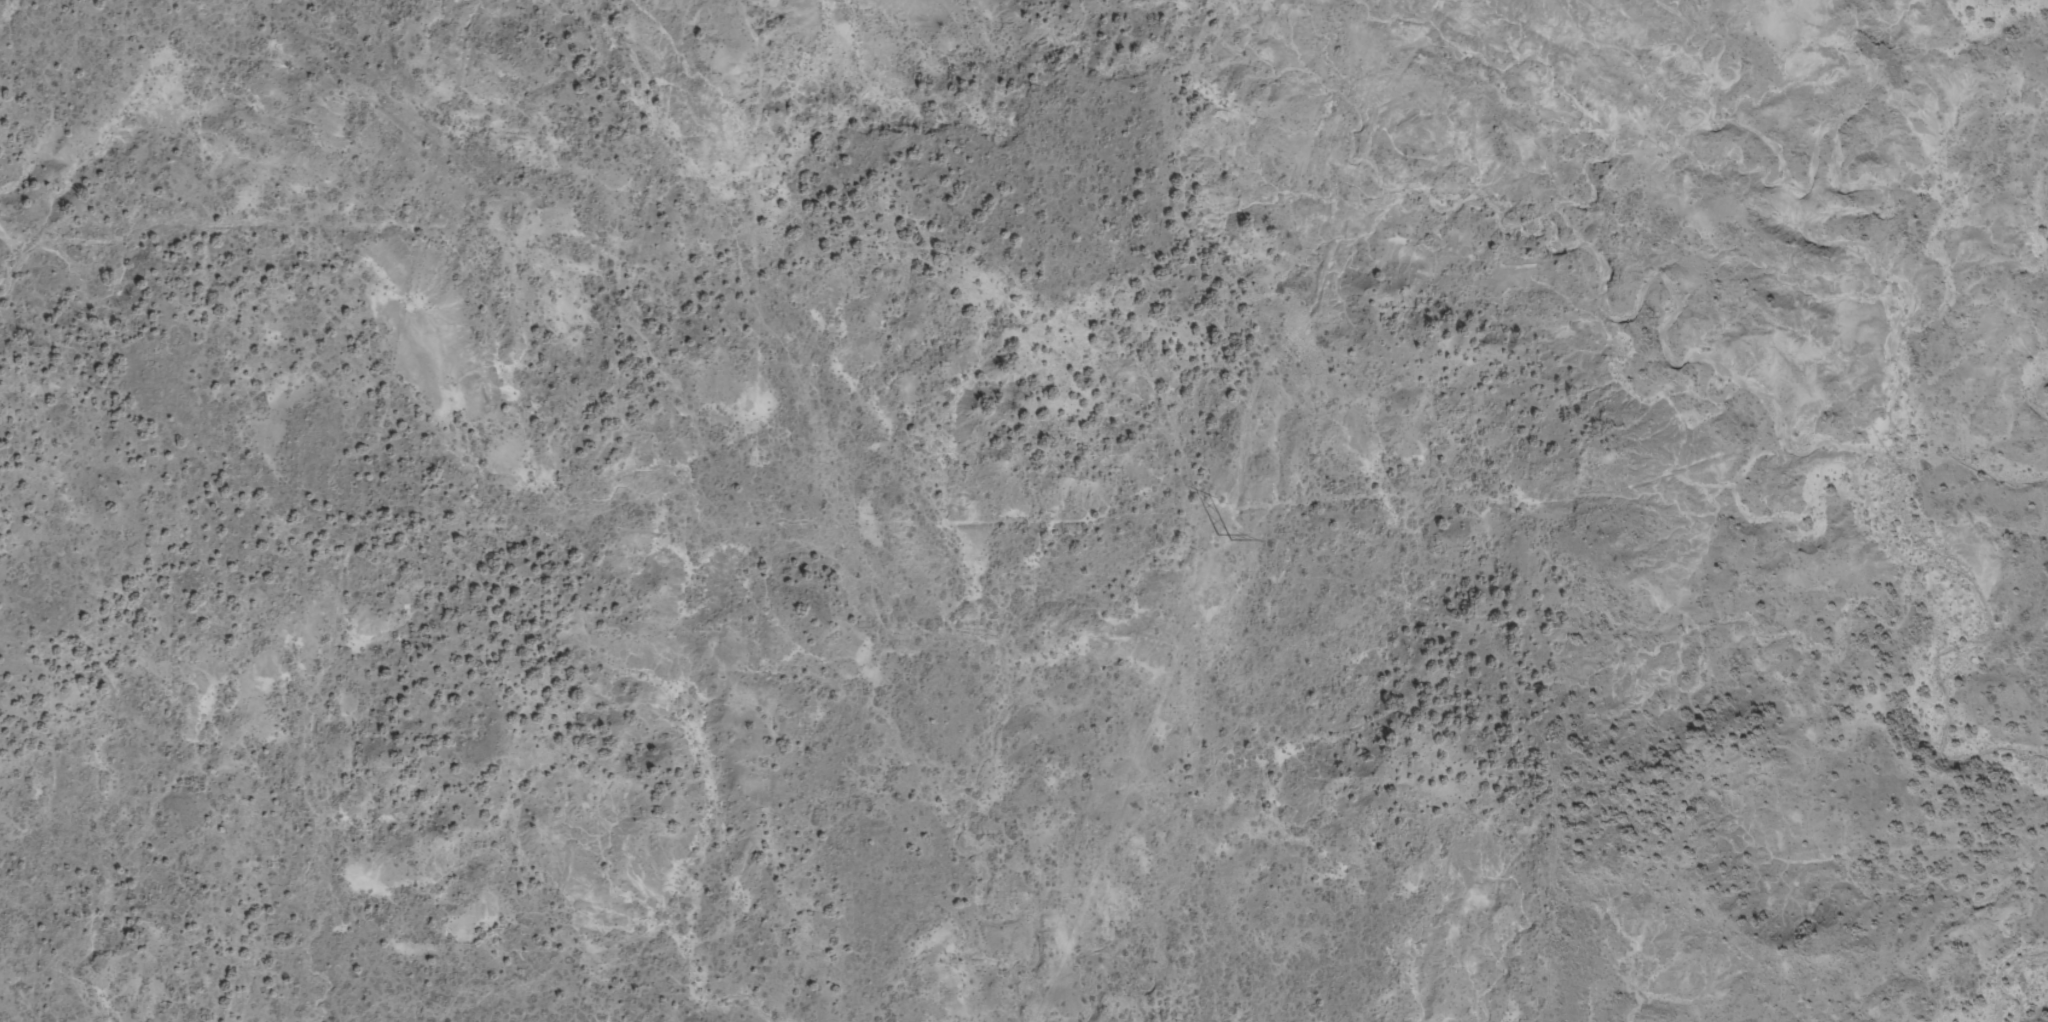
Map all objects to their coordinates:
power tower: (1224, 538)

